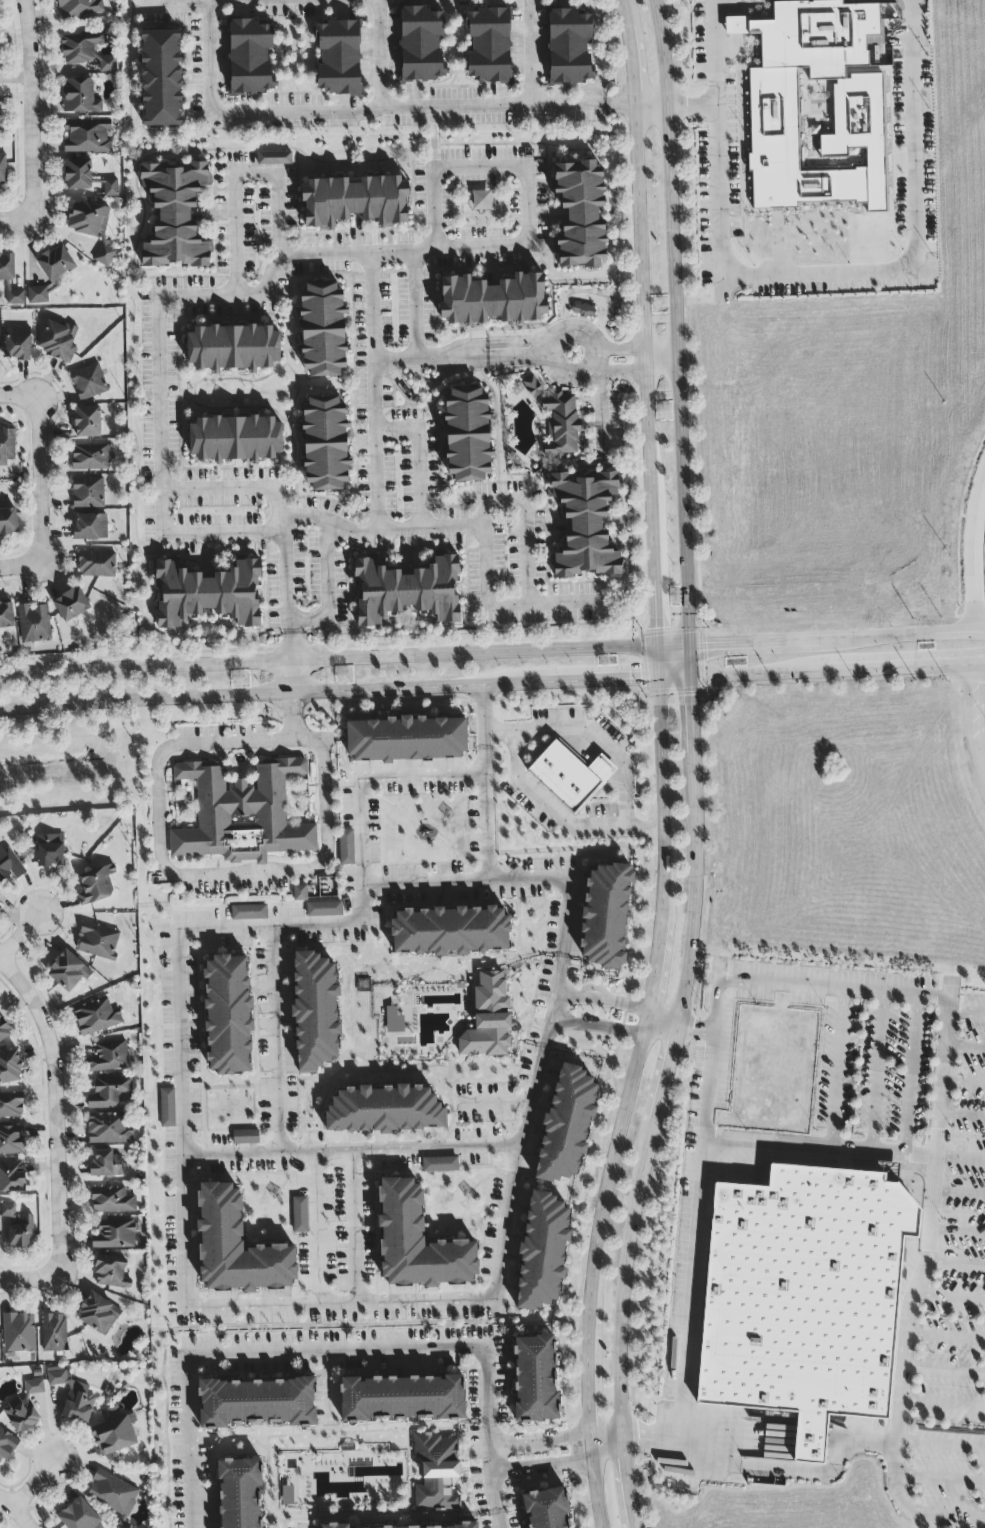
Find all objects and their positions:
building: (78, 8)
building: (421, 44)
building: (487, 45)
building: (568, 48)
building: (86, 50)
road: (531, 53)
road: (379, 54)
building: (250, 58)
building: (338, 58)
building: (160, 78)
building: (79, 97)
road: (693, 101)
road: (652, 102)
building: (815, 105)
road: (31, 106)
road: (371, 108)
building: (86, 137)
road: (435, 137)
building: (273, 159)
road: (480, 165)
building: (2, 170)
road: (256, 171)
building: (77, 175)
building: (110, 188)
building: (354, 202)
road: (527, 205)
road: (433, 209)
road: (15, 214)
building: (175, 215)
road: (279, 215)
building: (92, 228)
road: (234, 233)
building: (55, 264)
road: (818, 267)
building: (7, 268)
road: (235, 294)
building: (37, 295)
building: (15, 298)
building: (492, 300)
road: (415, 305)
building: (583, 311)
road: (645, 320)
road: (673, 321)
building: (322, 331)
building: (58, 341)
building: (17, 343)
building: (233, 348)
road: (621, 348)
road: (546, 355)
road: (459, 356)
road: (660, 358)
road: (618, 370)
building: (88, 382)
building: (531, 387)
road: (372, 391)
road: (21, 394)
road: (600, 406)
building: (87, 422)
building: (560, 425)
building: (466, 435)
building: (234, 439)
building: (324, 443)
building: (6, 446)
road: (419, 453)
building: (91, 457)
road: (43, 477)
road: (219, 488)
building: (87, 493)
road: (503, 498)
building: (8, 522)
building: (584, 524)
building: (89, 527)
road: (381, 527)
road: (221, 533)
road: (526, 550)
road: (974, 550)
road: (485, 551)
road: (23, 564)
building: (96, 564)
road: (326, 568)
road: (282, 573)
building: (406, 591)
building: (207, 594)
road: (543, 602)
building: (71, 605)
building: (6, 616)
road: (306, 616)
building: (33, 623)
road: (981, 628)
traffic signals: (658, 629)
road: (981, 630)
road: (894, 633)
road: (749, 639)
traffic signals: (704, 642)
road: (674, 643)
road: (472, 651)
road: (862, 657)
road: (143, 666)
road: (981, 666)
road: (288, 675)
traffic signals: (636, 676)
road: (488, 682)
traffic signals: (693, 699)
road: (484, 715)
road: (974, 723)
building: (406, 739)
building: (569, 776)
road: (625, 811)
building: (241, 815)
road: (646, 830)
building: (345, 847)
building: (50, 850)
building: (9, 865)
road: (216, 875)
road: (517, 878)
road: (425, 882)
building: (95, 885)
building: (299, 893)
building: (323, 909)
building: (248, 913)
building: (605, 917)
building: (450, 931)
road: (22, 934)
building: (97, 942)
road: (1, 955)
building: (67, 972)
road: (820, 984)
road: (550, 1002)
road: (602, 1003)
building: (315, 1011)
building: (227, 1016)
building: (96, 1017)
building: (488, 1019)
building: (392, 1021)
road: (597, 1025)
road: (663, 1025)
building: (3, 1031)
road: (967, 1048)
building: (109, 1057)
road: (837, 1066)
building: (9, 1068)
road: (877, 1070)
road: (911, 1072)
road: (965, 1084)
road: (632, 1086)
road: (275, 1087)
road: (668, 1087)
building: (111, 1093)
road: (496, 1104)
building: (11, 1105)
building: (167, 1108)
road: (62, 1109)
building: (384, 1110)
road: (964, 1116)
building: (566, 1124)
building: (108, 1129)
building: (245, 1137)
building: (12, 1141)
road: (766, 1143)
road: (398, 1149)
road: (962, 1156)
road: (182, 1162)
building: (105, 1165)
building: (439, 1165)
building: (12, 1177)
building: (111, 1200)
building: (299, 1215)
road: (354, 1226)
building: (17, 1227)
road: (316, 1227)
building: (114, 1234)
building: (417, 1242)
building: (236, 1247)
building: (542, 1252)
building: (110, 1272)
road: (29, 1280)
building: (804, 1299)
road: (911, 1303)
building: (98, 1315)
road: (688, 1316)
building: (18, 1333)
building: (54, 1333)
road: (268, 1351)
building: (534, 1380)
building: (72, 1396)
building: (403, 1398)
building: (256, 1403)
road: (488, 1405)
building: (23, 1408)
road: (542, 1440)
building: (6, 1446)
road: (608, 1446)
road: (544, 1466)
road: (491, 1468)
building: (436, 1472)
road: (790, 1472)
road: (37, 1486)
building: (240, 1493)
building: (112, 1494)
building: (287, 1496)
road: (8, 1505)
building: (546, 1509)
building: (78, 1516)
road: (24, 1520)
road: (496, 1521)
building: (334, 1526)
building: (440, 1527)

